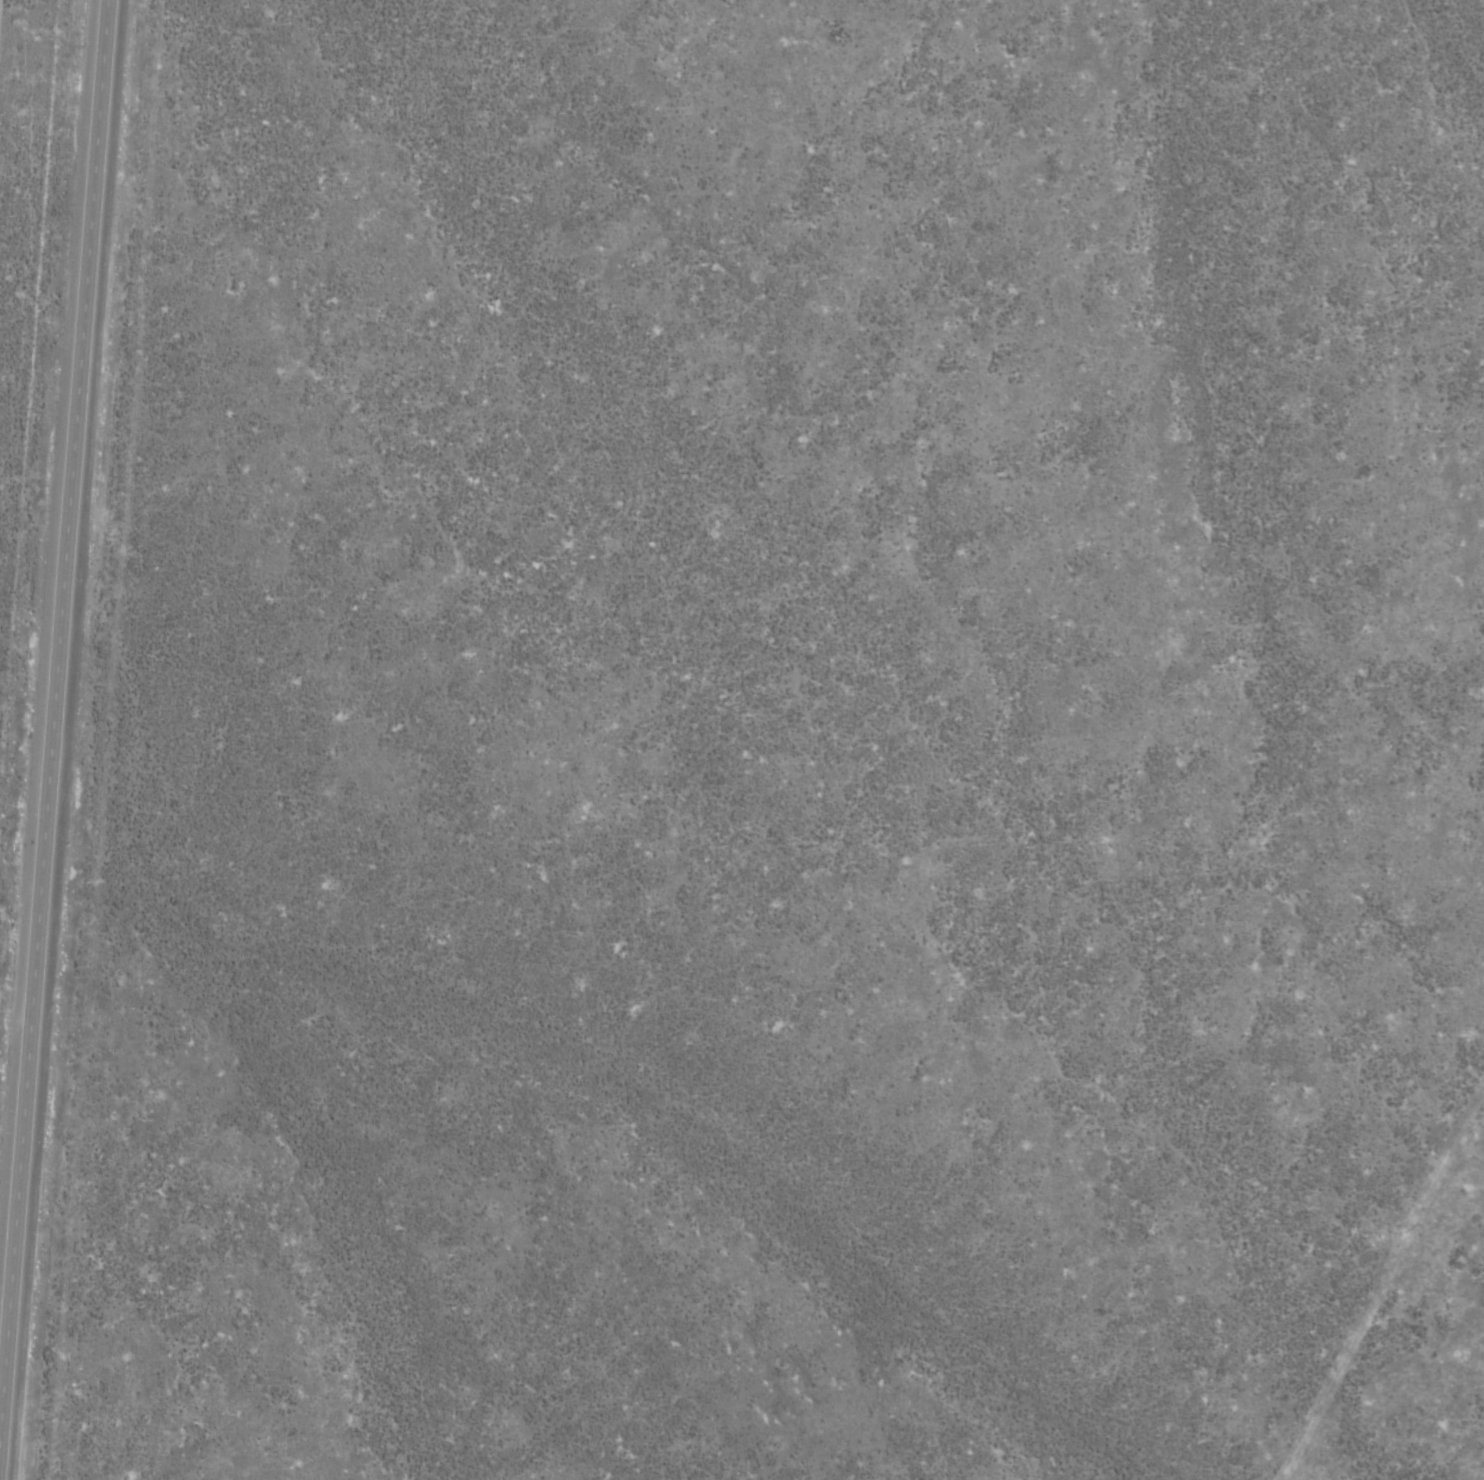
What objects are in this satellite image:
road: (52, 686)

